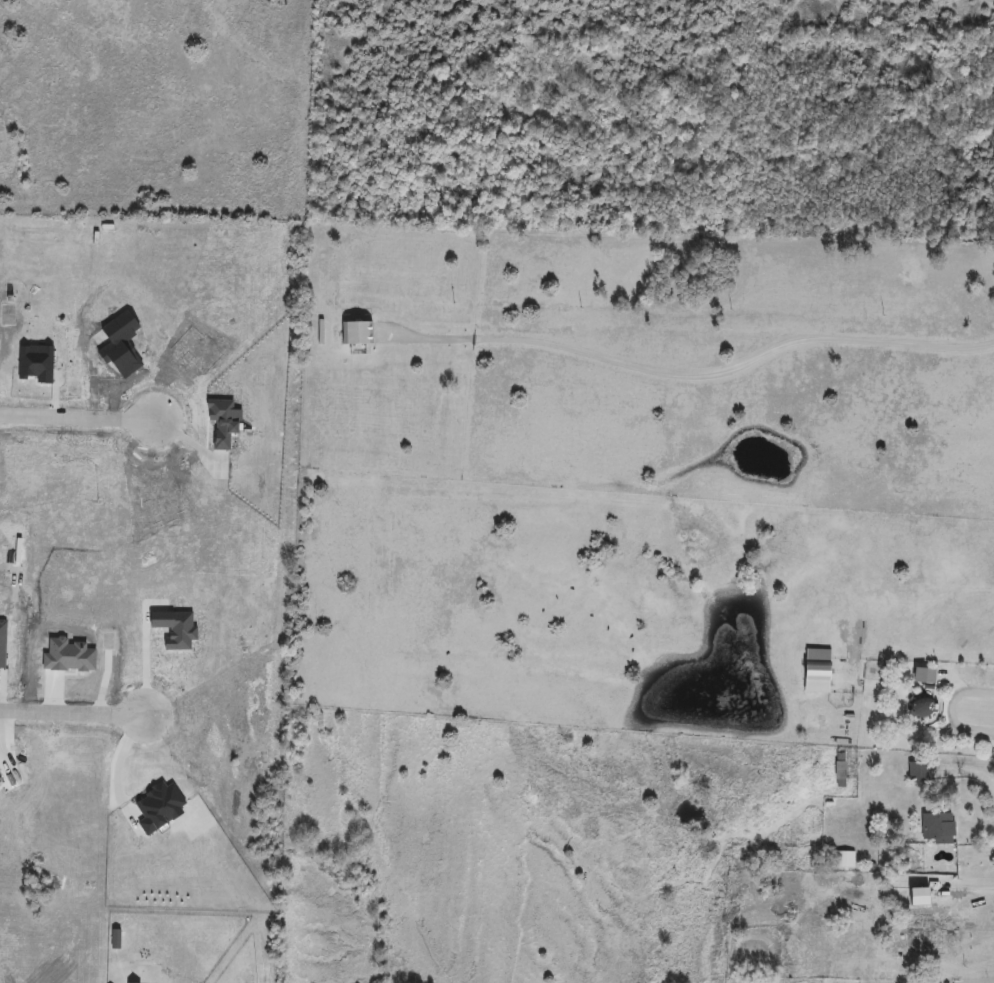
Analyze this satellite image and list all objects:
road: (694, 372)
road: (77, 414)
building: (819, 671)
building: (925, 675)
road: (951, 709)
road: (71, 710)
road: (111, 763)
road: (968, 767)
building: (919, 771)
building: (938, 828)
building: (844, 859)
building: (720, 882)
road: (972, 888)
building: (921, 896)
building: (946, 933)

